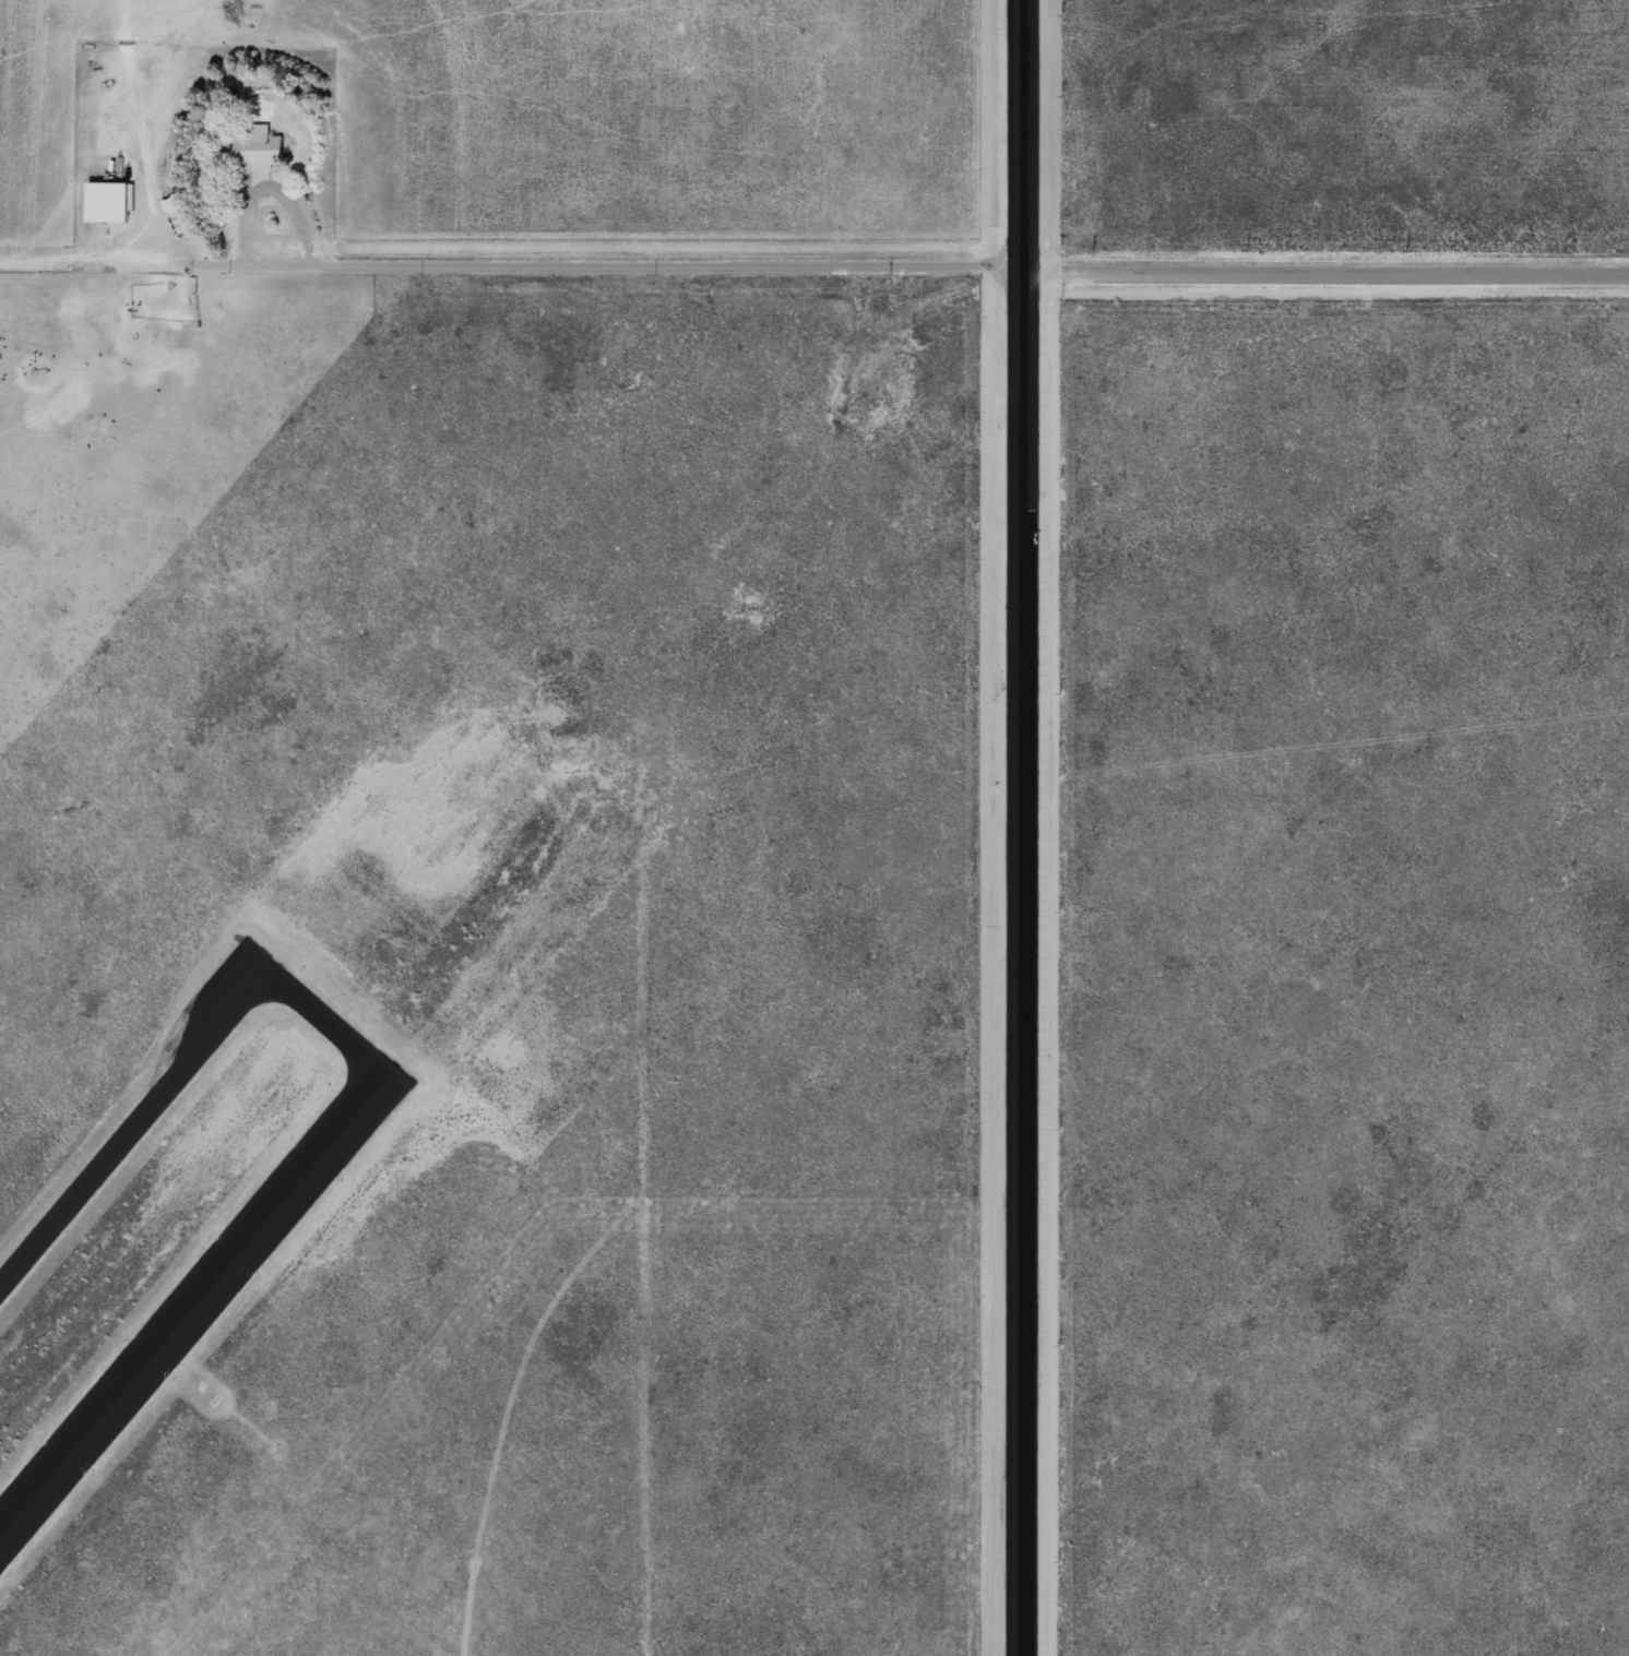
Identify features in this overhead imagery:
building: (253, 148)
building: (175, 214)
road: (1324, 263)
road: (1018, 827)
airport: (442, 833)
airport taxiway: (329, 1024)
airport taxiway: (136, 1130)
airport runway: (197, 1302)

